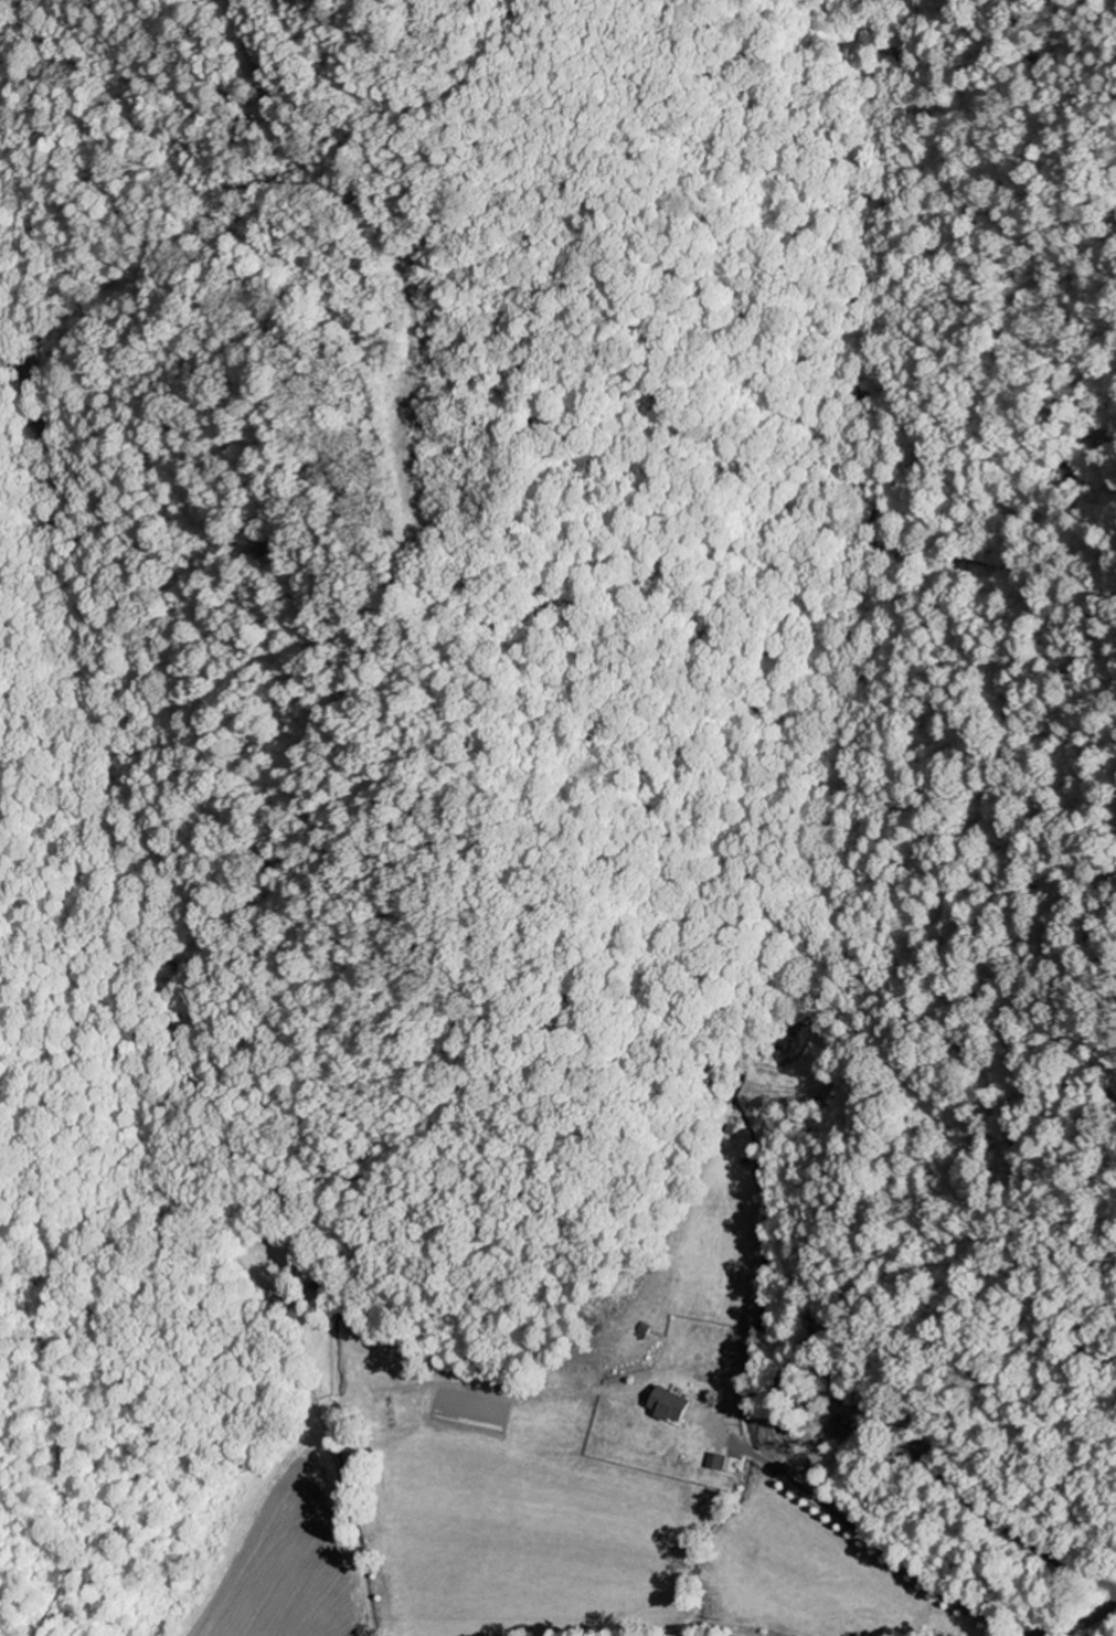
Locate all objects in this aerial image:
building: (670, 1407)
building: (722, 1465)
road: (858, 1520)

